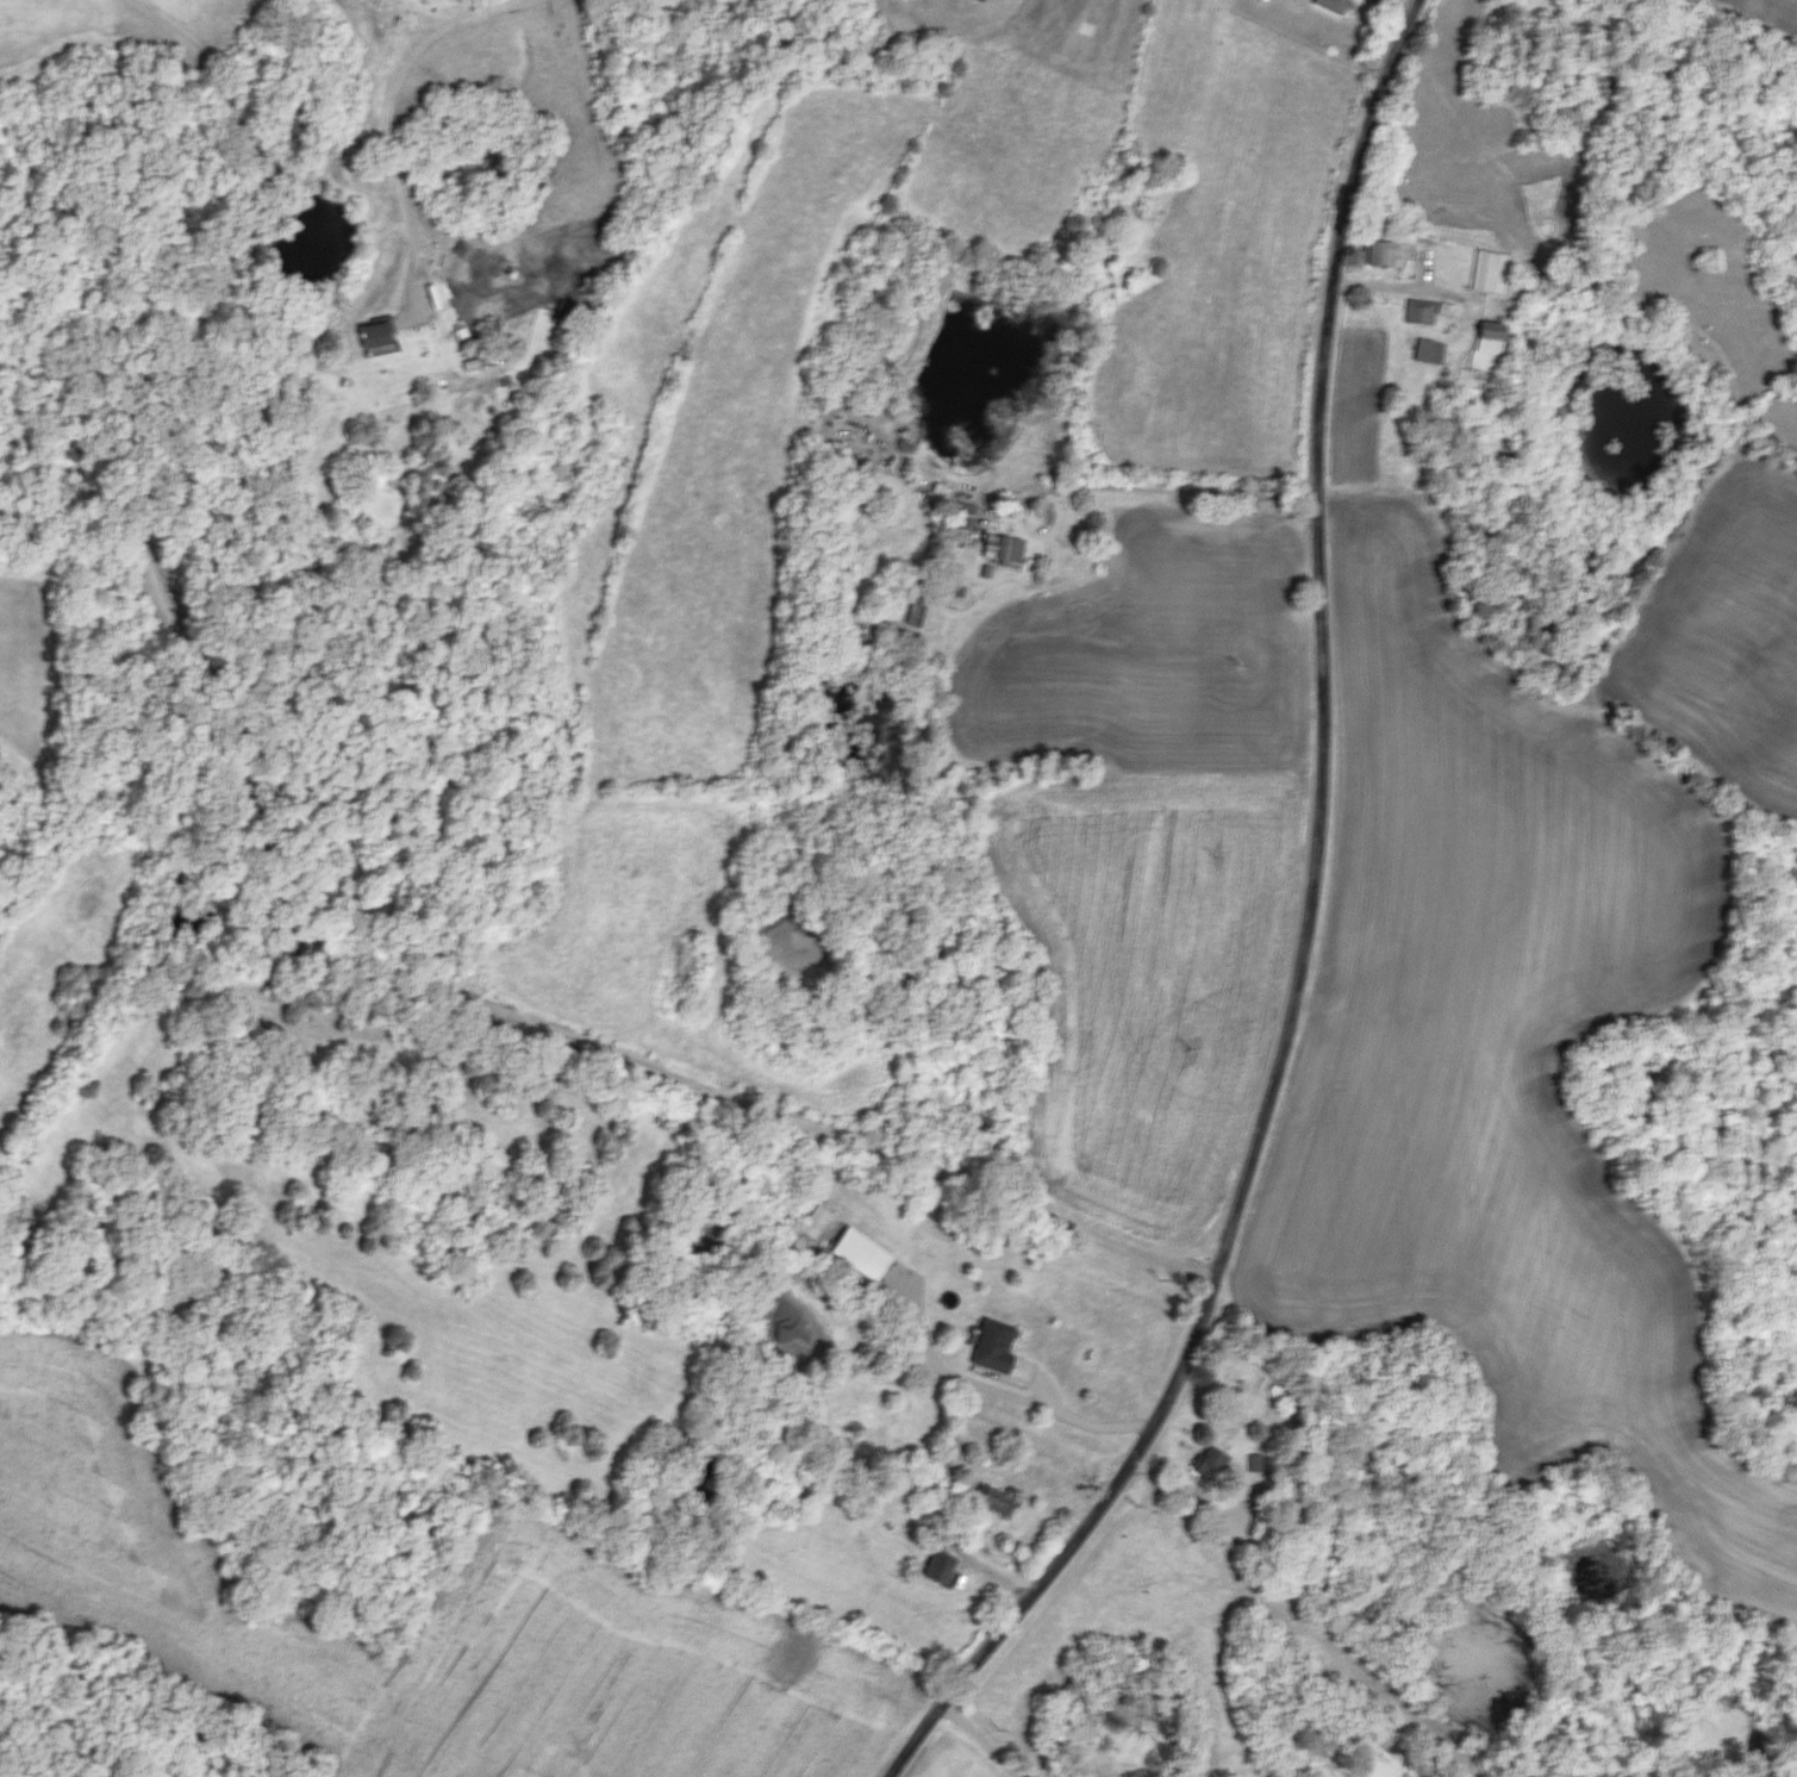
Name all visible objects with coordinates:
building: (1336, 5)
road: (388, 126)
building: (1383, 252)
building: (1491, 272)
building: (564, 311)
building: (1419, 311)
building: (380, 332)
building: (1430, 351)
building: (1490, 356)
road: (1166, 490)
building: (944, 492)
building: (1007, 548)
building: (918, 611)
road: (282, 911)
road: (1309, 937)
building: (866, 1254)
building: (998, 1347)
road: (1000, 1392)
building: (1215, 1463)
building: (1000, 1499)
building: (943, 1564)
road: (982, 1737)

